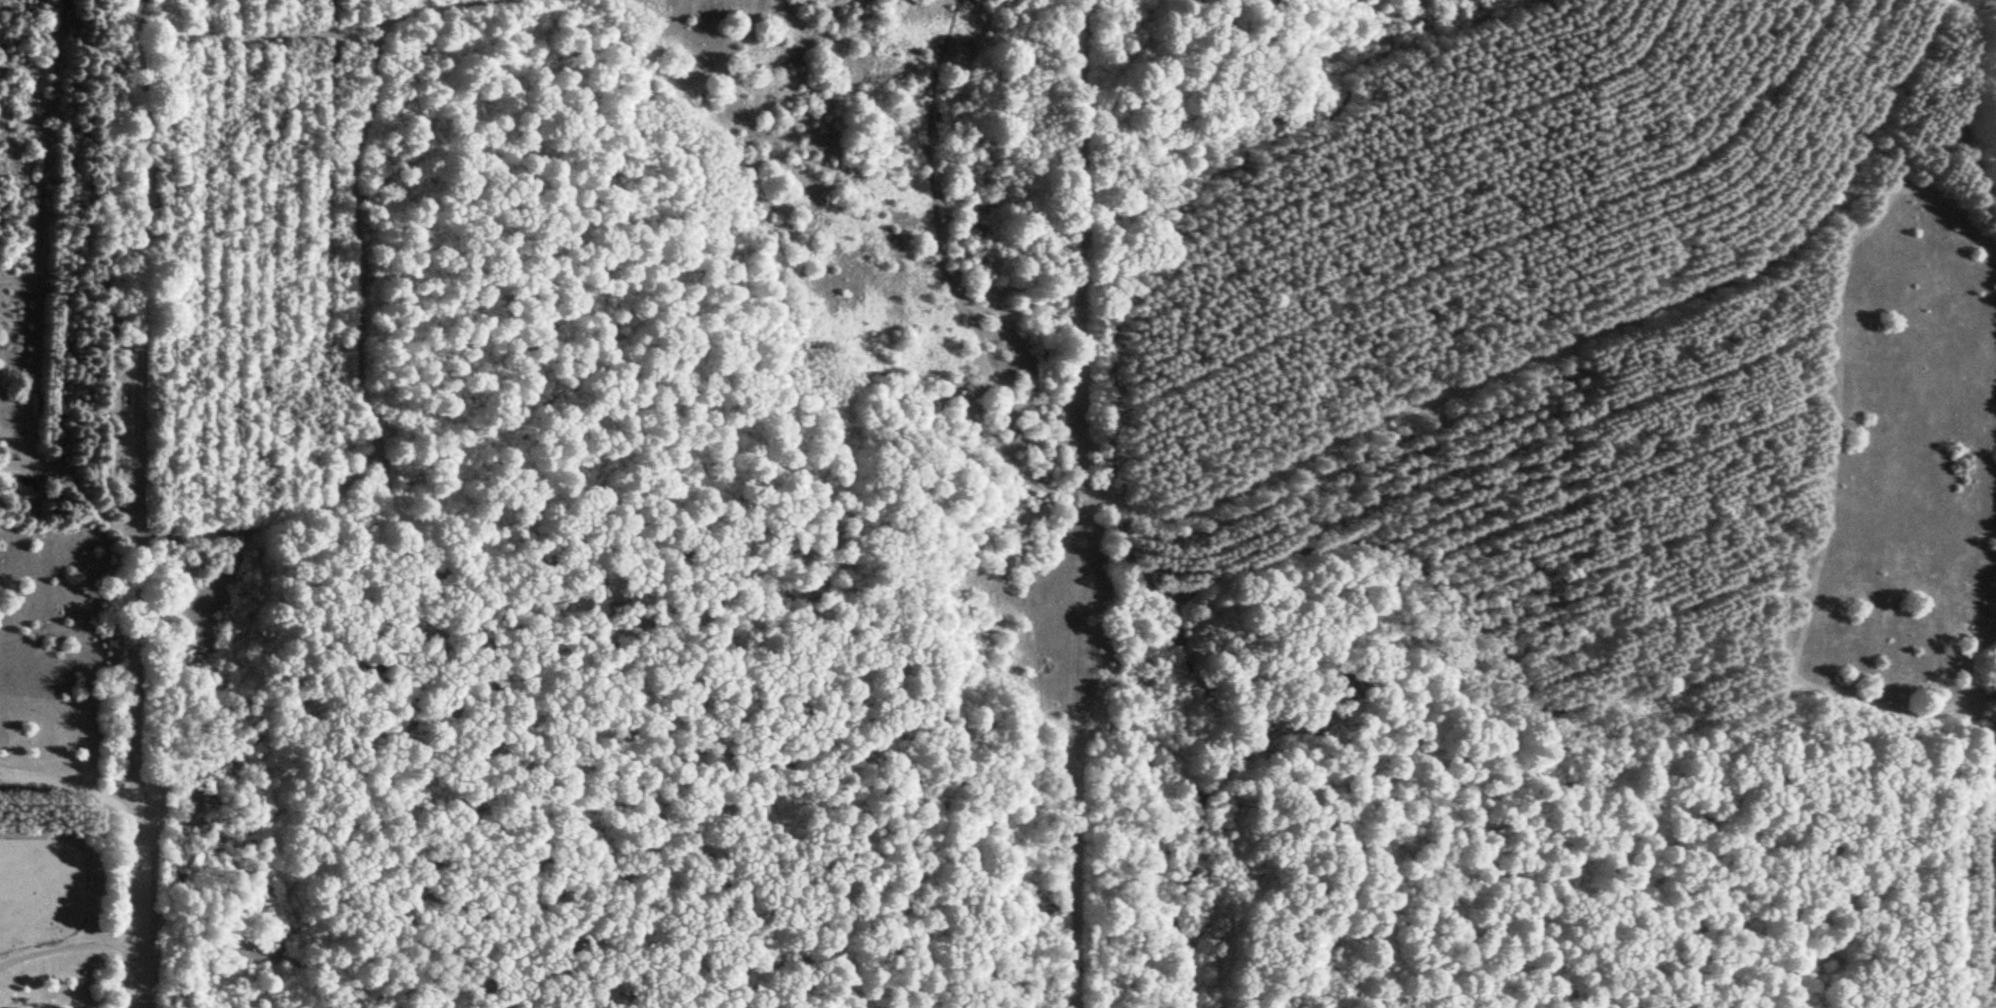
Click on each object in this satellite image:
building: (700, 61)
road: (1077, 257)
road: (1533, 358)
building: (29, 492)
road: (1016, 494)
road: (135, 503)
road: (1056, 562)
road: (1067, 769)
road: (68, 783)
road: (66, 949)

